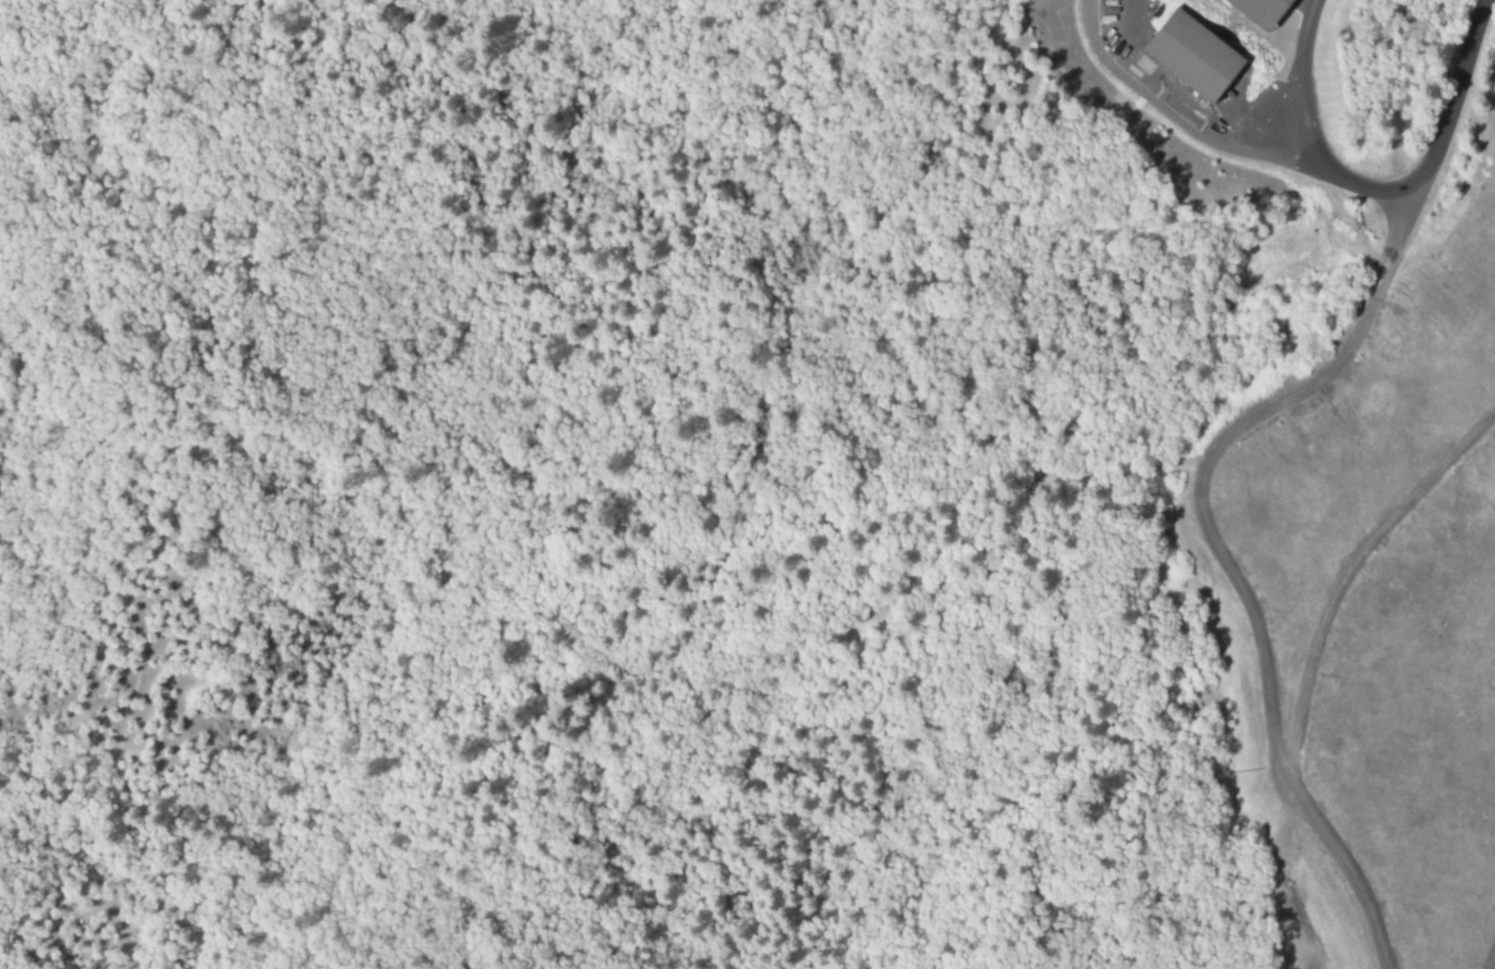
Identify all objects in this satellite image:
building: (1256, 11)
building: (1189, 56)
road: (1380, 188)

